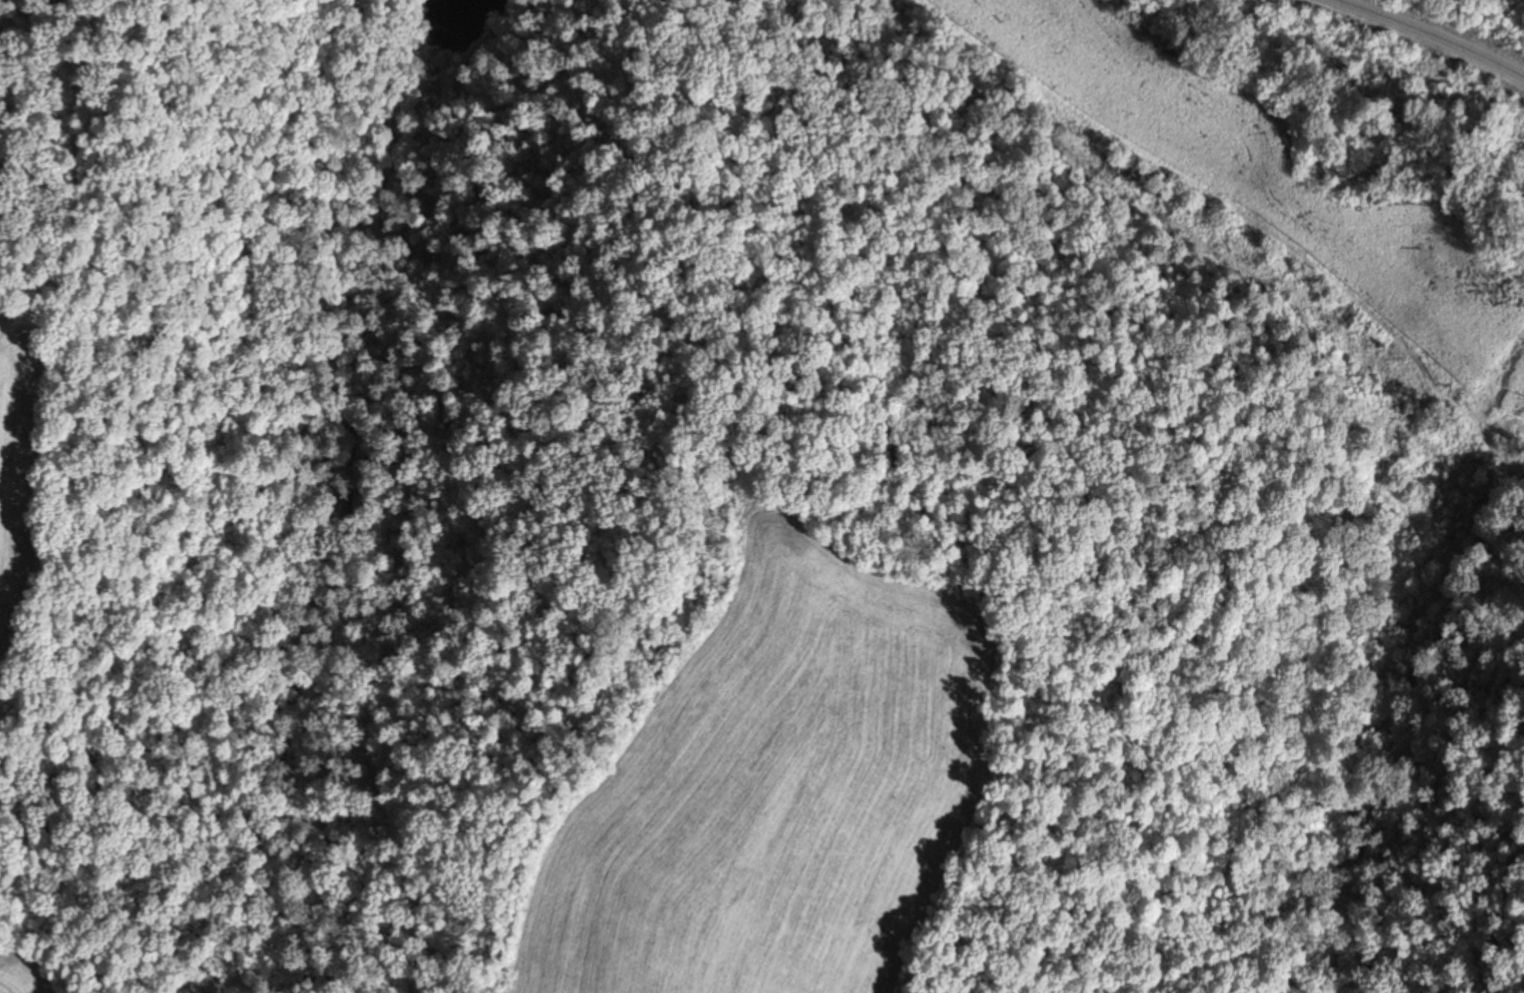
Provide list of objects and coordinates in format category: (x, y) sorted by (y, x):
road: (1376, 51)

